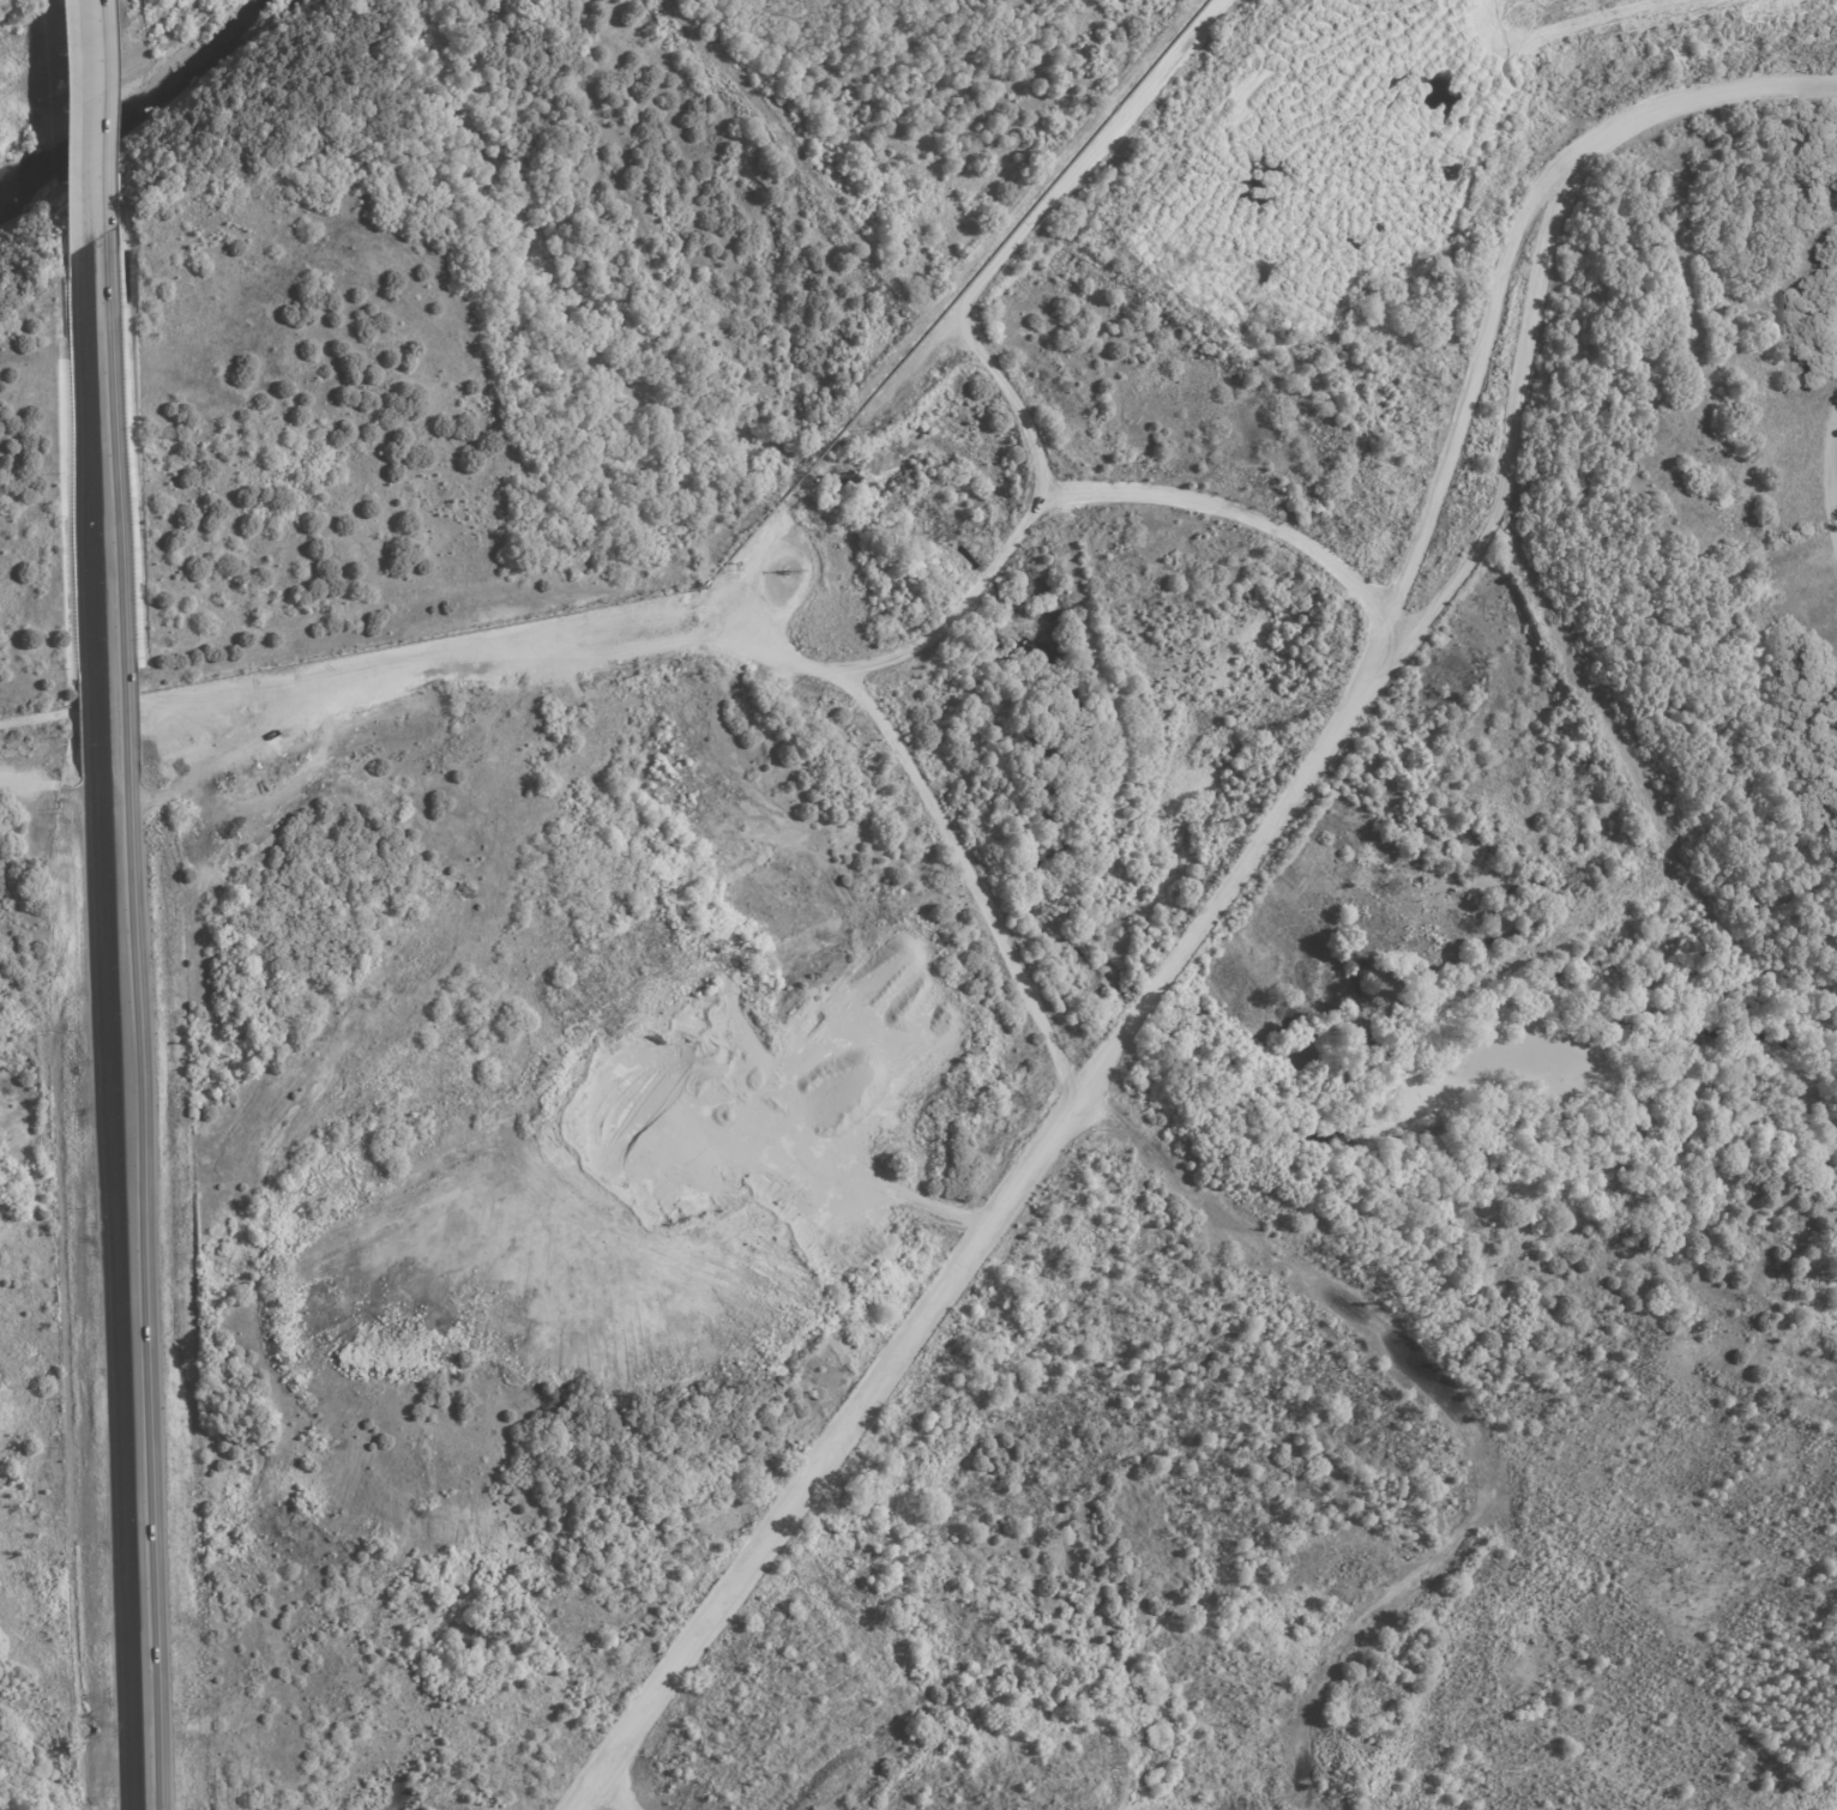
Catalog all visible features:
road: (88, 120)
road: (1458, 384)
road: (98, 397)
road: (1831, 472)
road: (110, 771)
road: (1216, 898)
road: (127, 1245)
road: (139, 1657)

